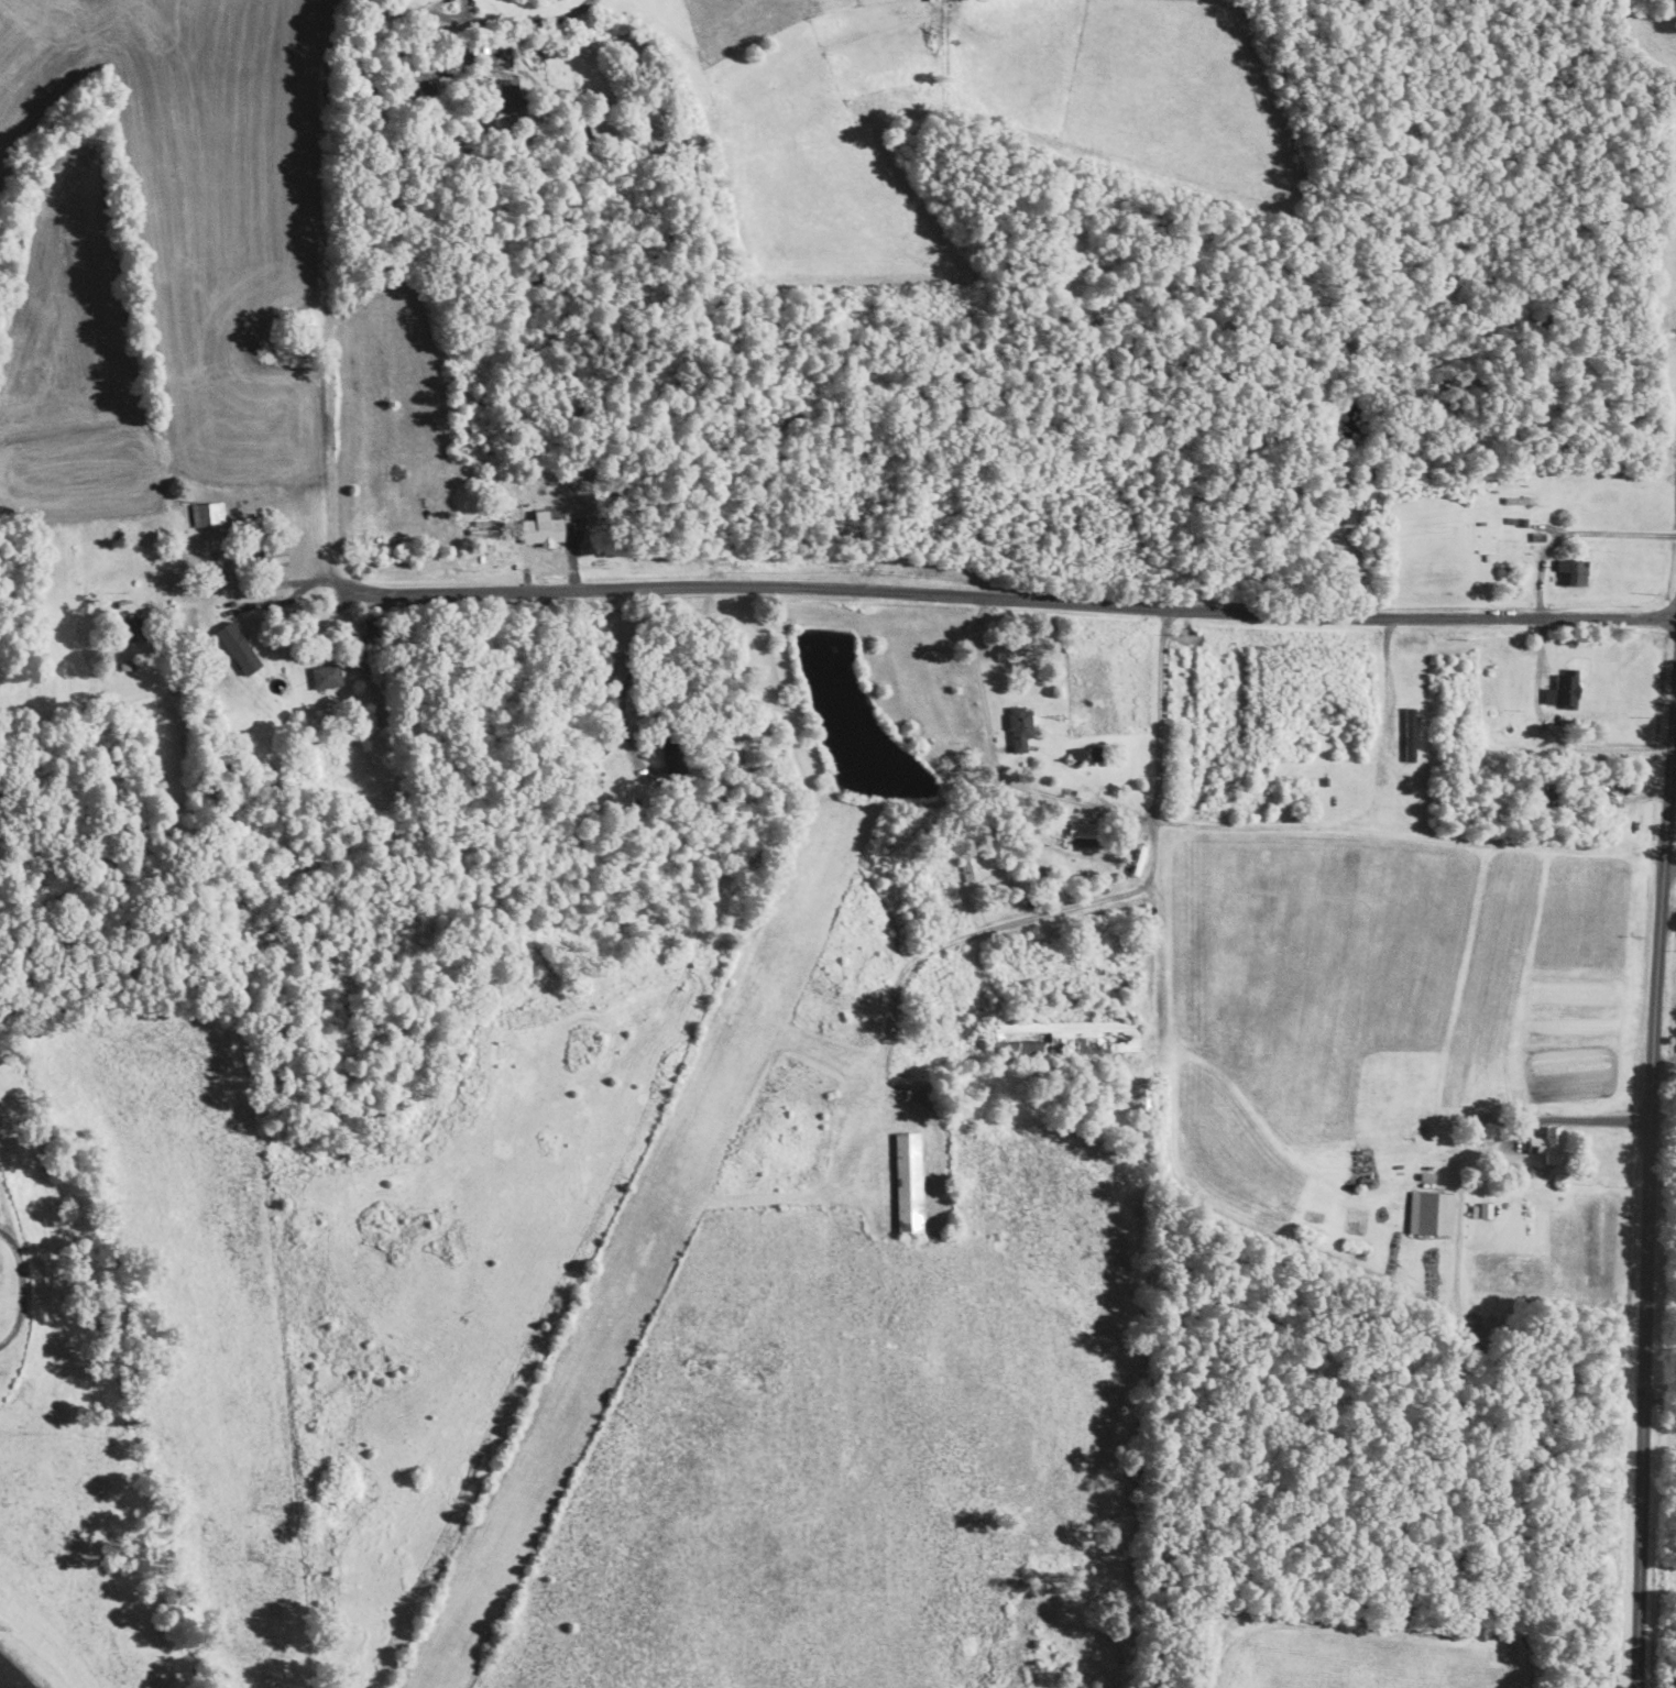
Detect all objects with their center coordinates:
building: (932, 0)
road: (481, 21)
building: (505, 90)
road: (328, 296)
building: (207, 513)
road: (1574, 531)
building: (1573, 571)
road: (1008, 600)
road: (283, 601)
building: (238, 647)
building: (326, 676)
road: (623, 682)
road: (1388, 682)
building: (1564, 689)
building: (1019, 728)
road: (1554, 733)
building: (1411, 734)
road: (994, 765)
building: (1082, 830)
road: (1669, 869)
road: (1150, 876)
building: (1018, 1046)
road: (1664, 1062)
road: (1574, 1119)
building: (1487, 1132)
building: (1547, 1146)
airport taxiway: (861, 1164)
airport hangar: (906, 1182)
building: (906, 1182)
road: (1648, 1191)
building: (1487, 1210)
building: (1431, 1213)
road: (4, 1214)
airport runway: (635, 1254)
road: (19, 1286)
road: (1663, 1401)

